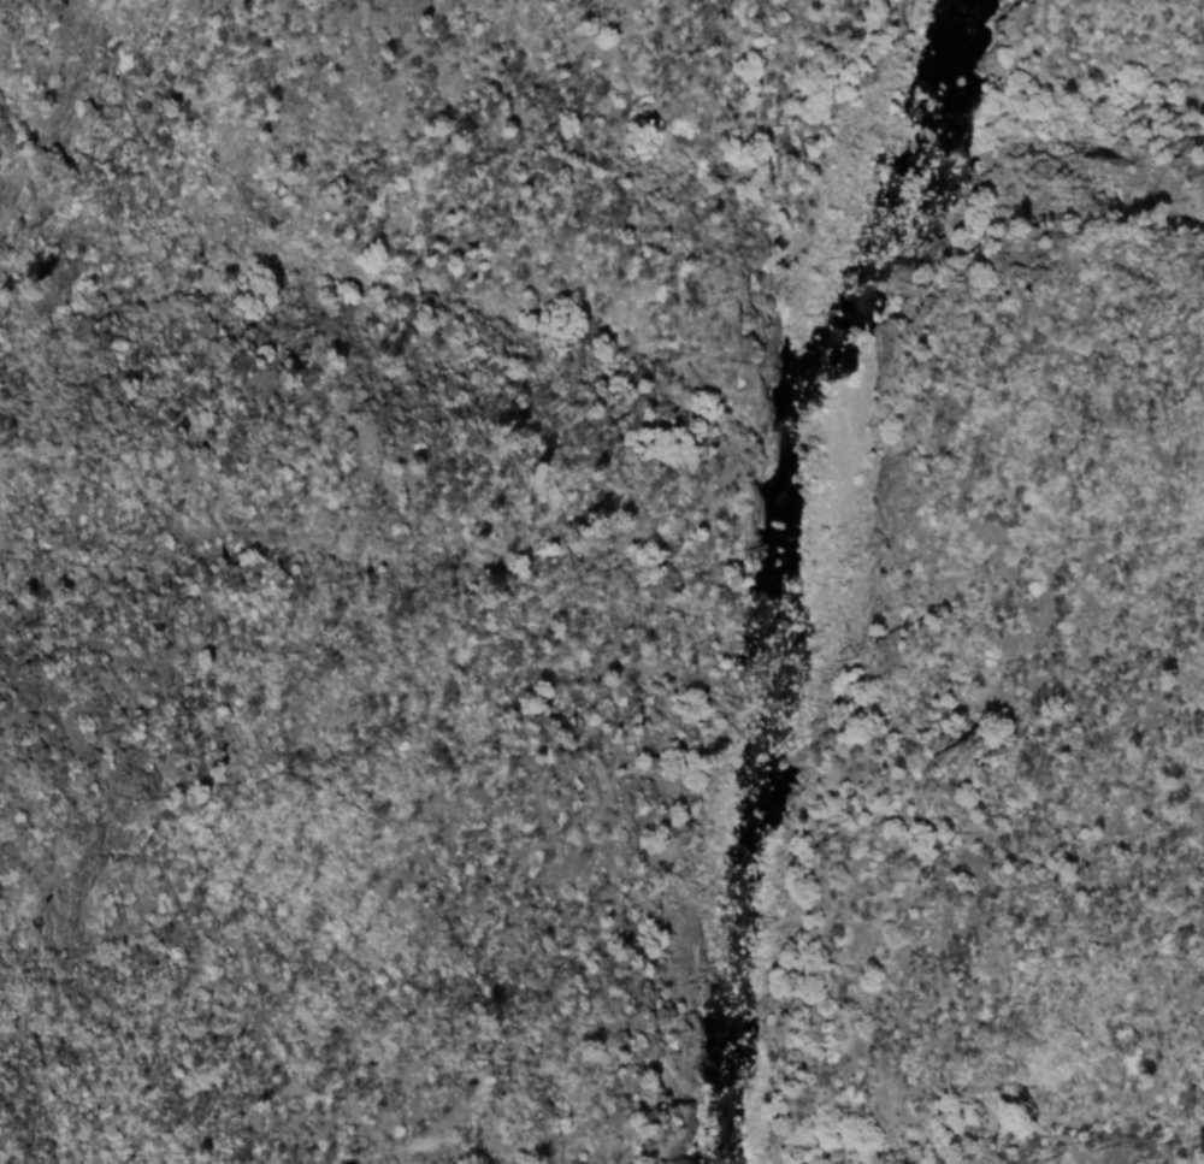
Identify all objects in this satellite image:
river: (805, 555)

